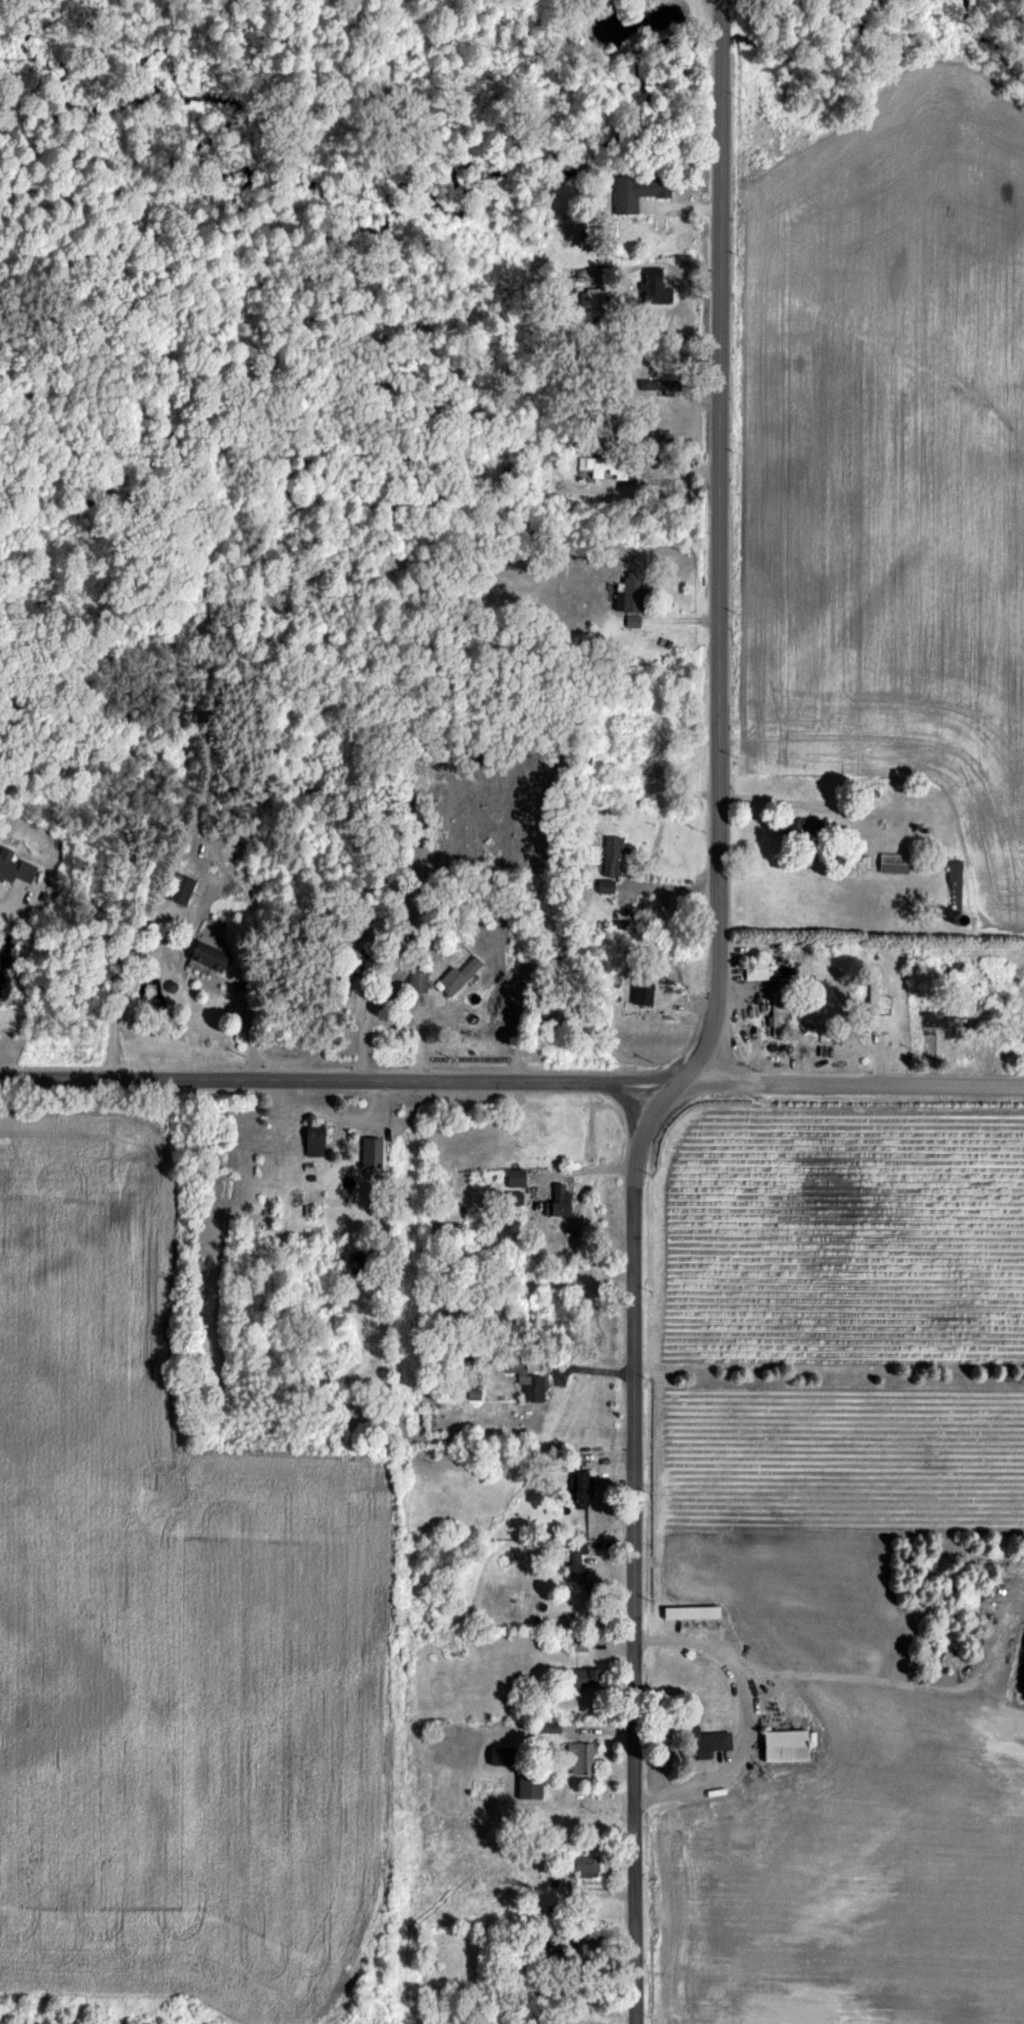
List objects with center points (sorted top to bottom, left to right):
building: (635, 191)
building: (653, 286)
building: (588, 296)
road: (718, 548)
building: (626, 592)
building: (631, 620)
building: (611, 854)
building: (891, 862)
building: (14, 867)
building: (954, 880)
building: (603, 884)
building: (177, 887)
road: (7, 892)
building: (205, 954)
building: (754, 968)
building: (456, 975)
building: (344, 979)
building: (416, 980)
building: (640, 989)
road: (111, 994)
building: (871, 995)
road: (362, 1016)
building: (774, 1020)
road: (248, 1029)
road: (511, 1084)
building: (311, 1141)
building: (370, 1151)
building: (513, 1177)
building: (512, 1197)
building: (555, 1201)
building: (525, 1380)
building: (579, 1488)
road: (633, 1546)
building: (576, 1563)
building: (688, 1611)
building: (582, 1676)
building: (543, 1725)
building: (702, 1741)
building: (785, 1743)
building: (493, 1754)
building: (578, 1757)
building: (527, 1786)
building: (581, 1864)

